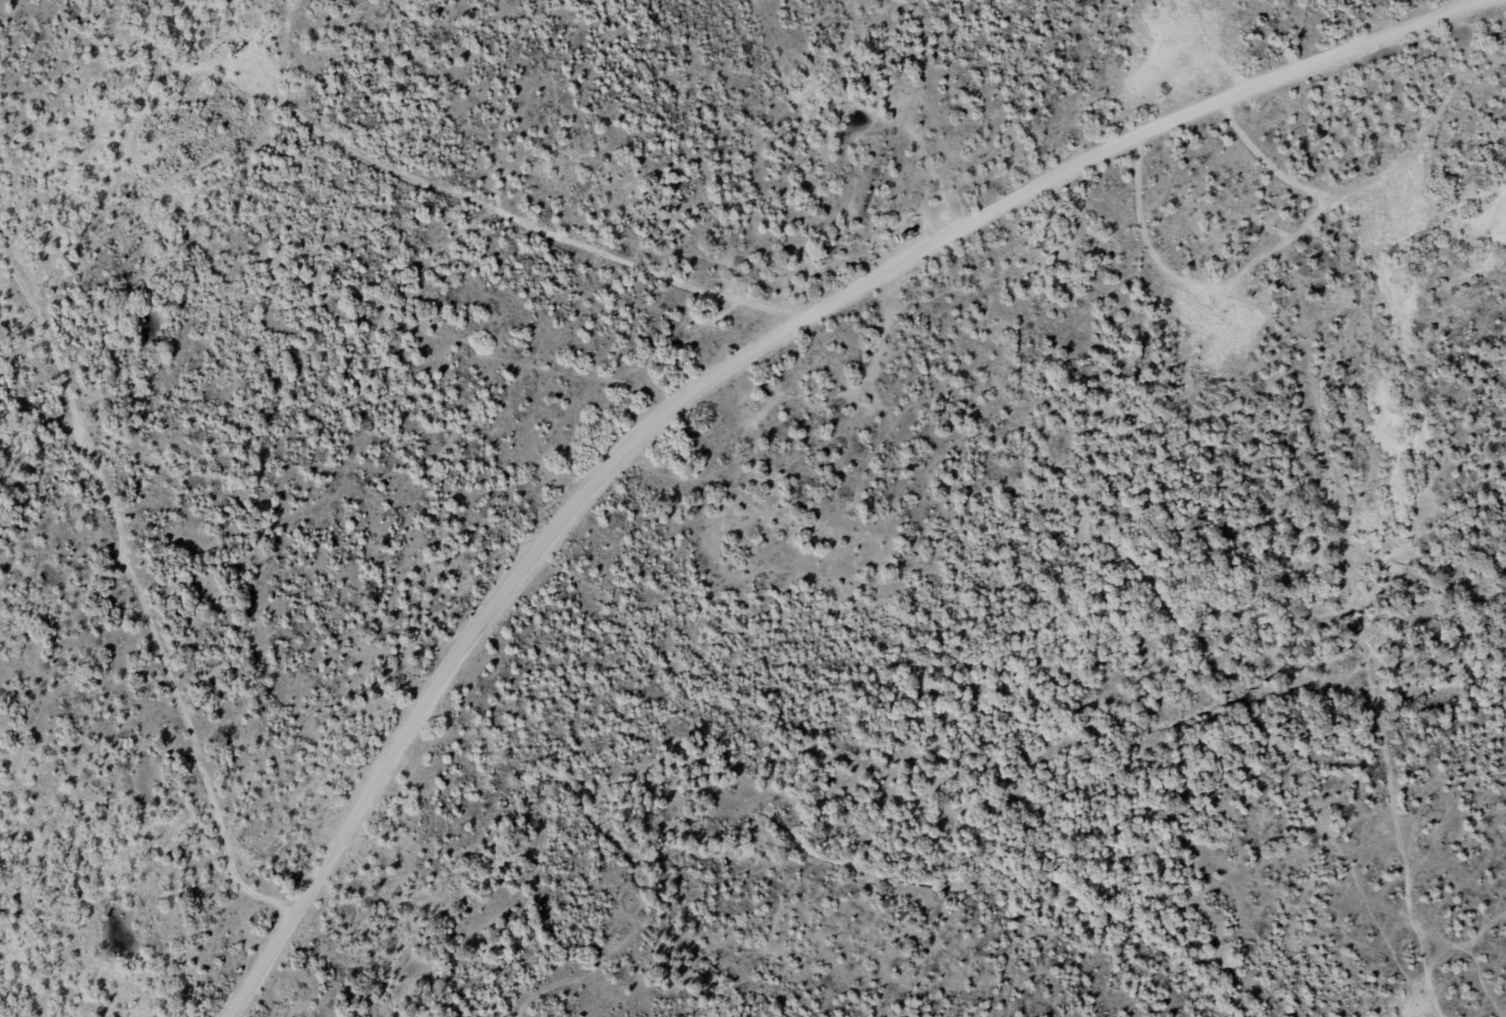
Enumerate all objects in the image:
road: (519, 247)
road: (738, 363)

